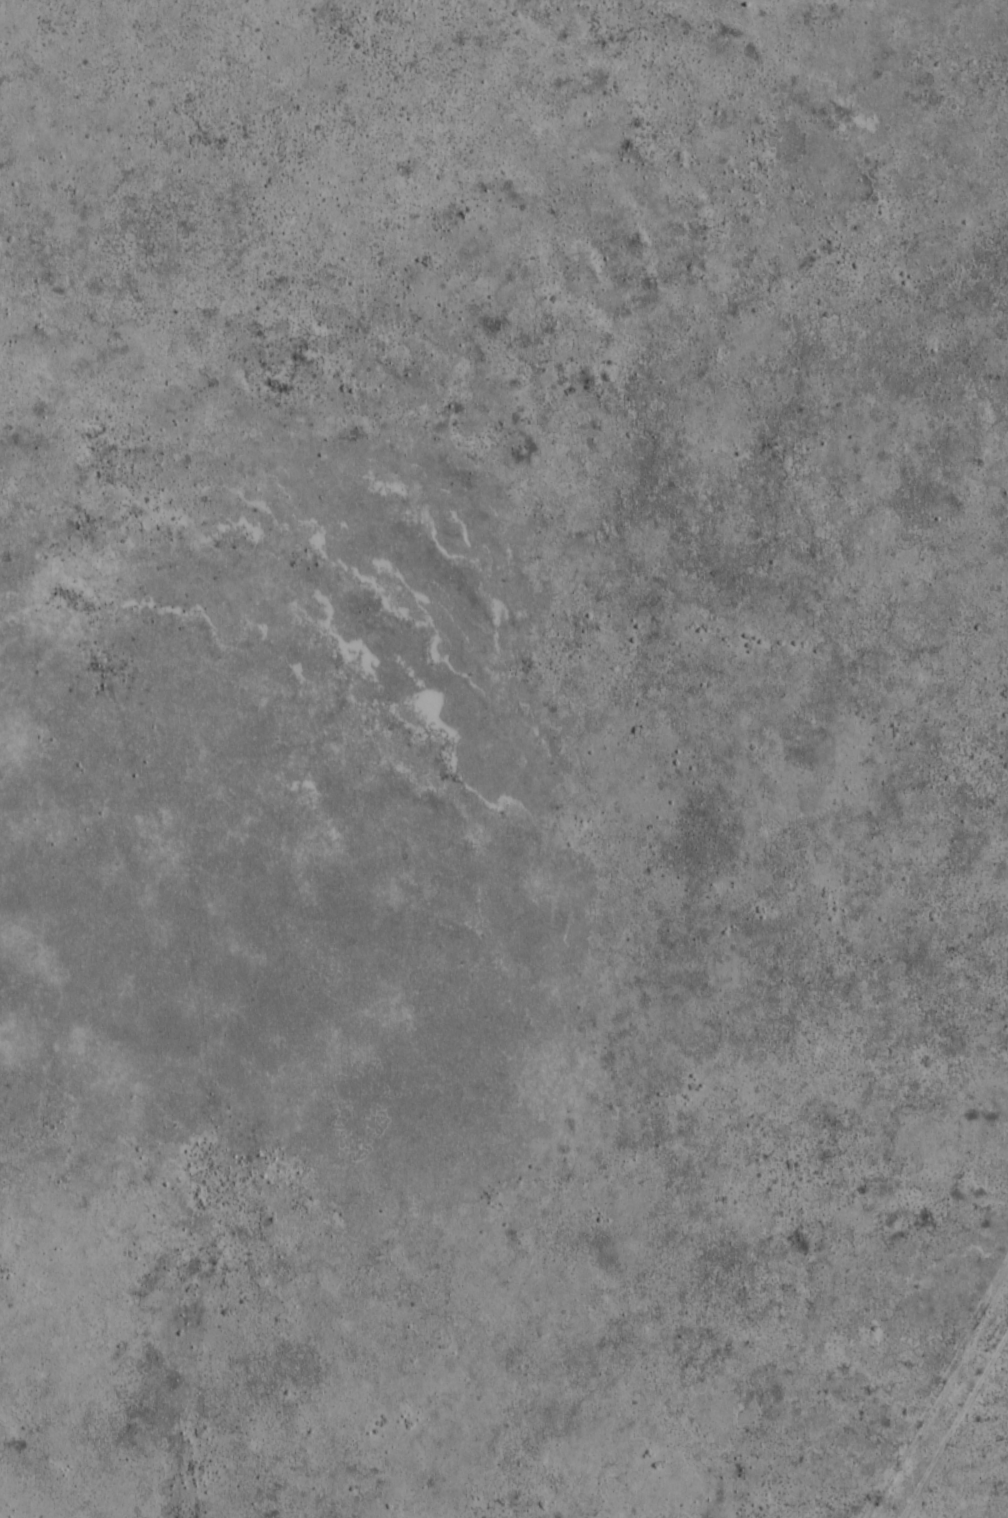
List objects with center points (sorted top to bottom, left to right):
road: (951, 1421)

